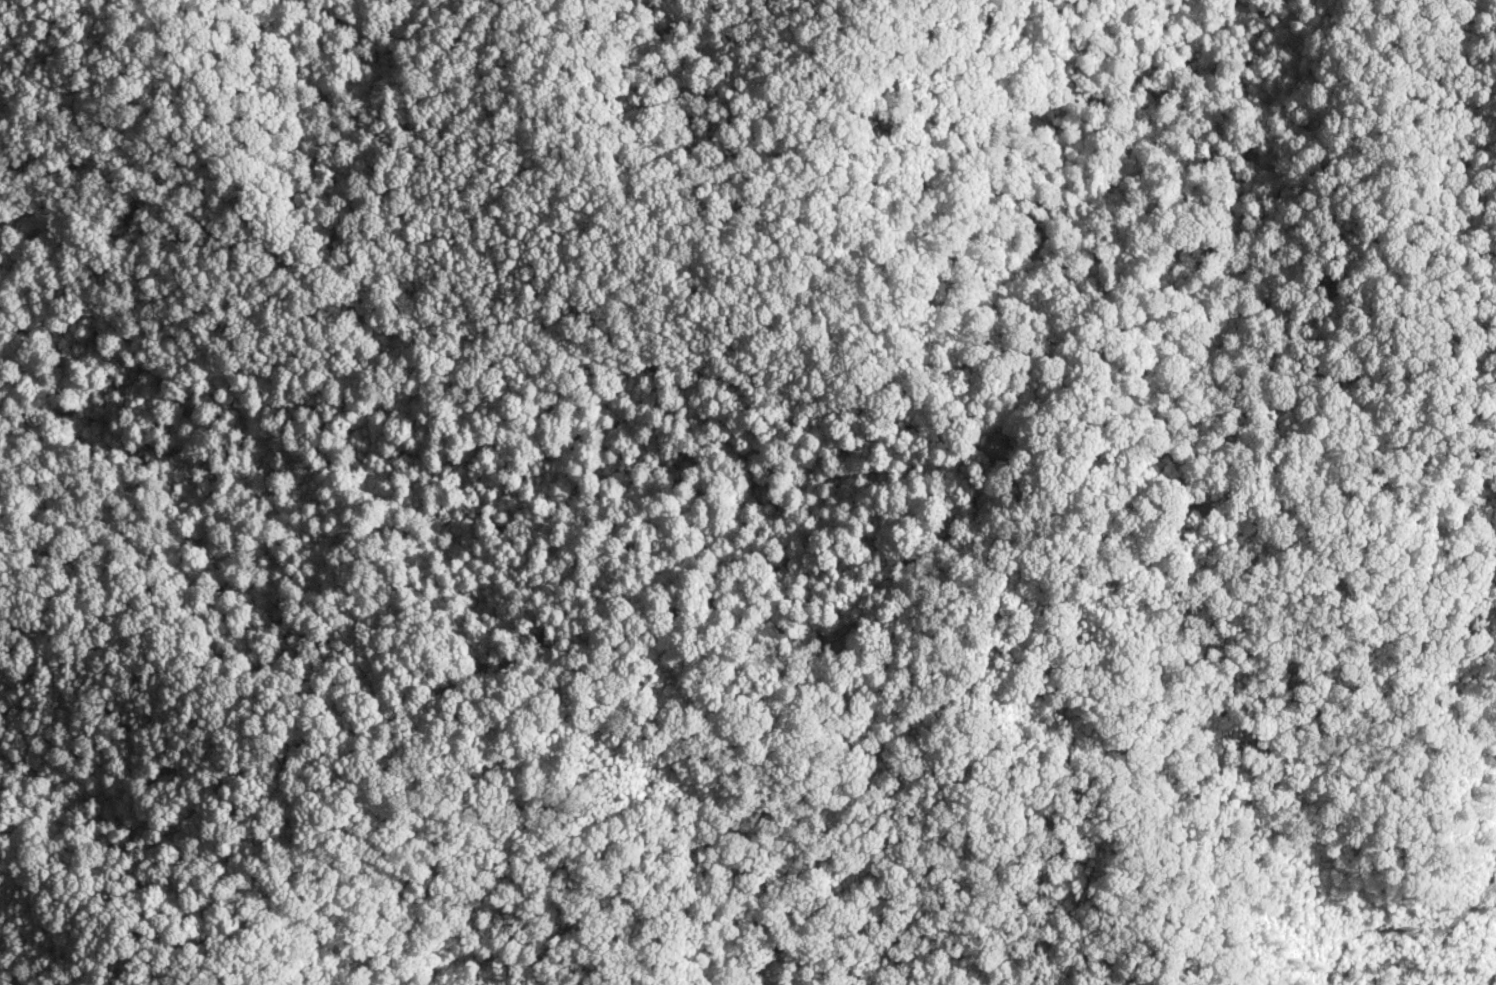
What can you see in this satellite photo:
road: (961, 497)

